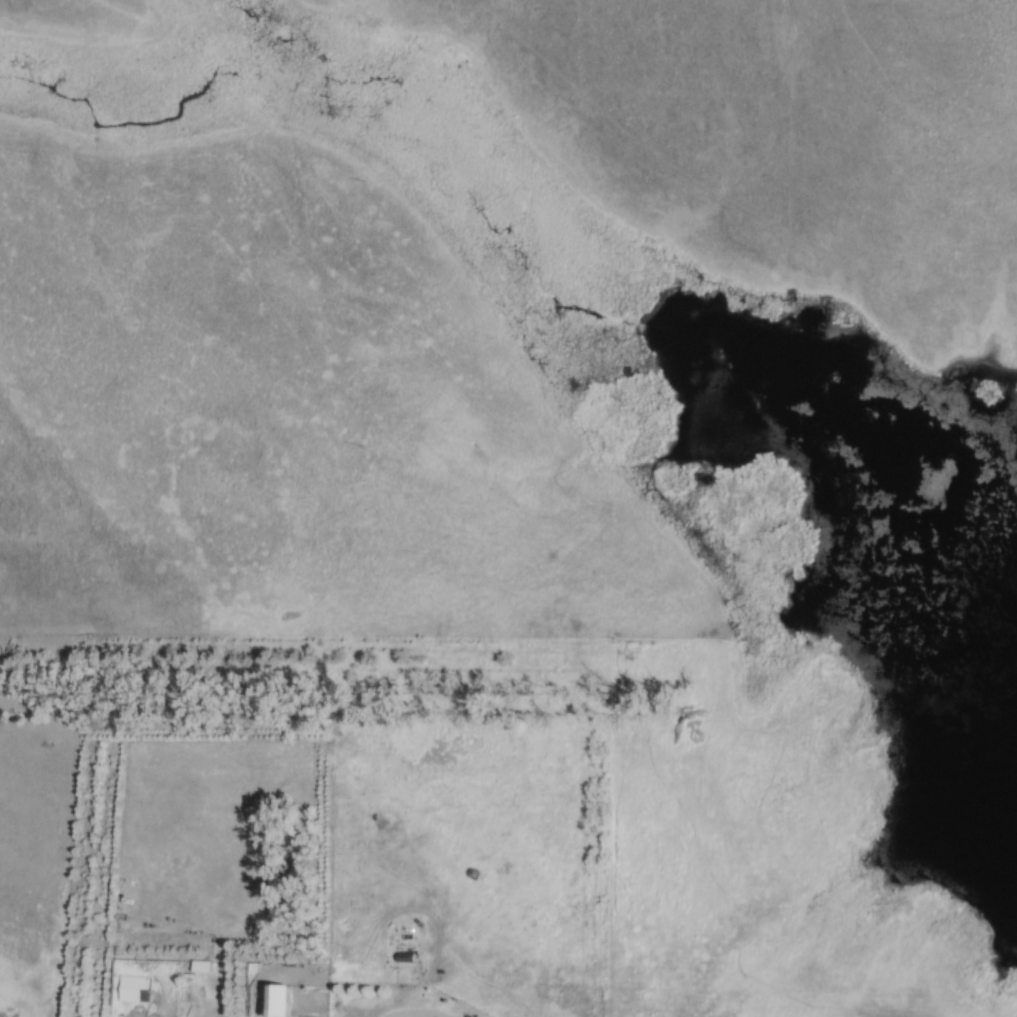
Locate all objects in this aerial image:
building: (279, 1000)

